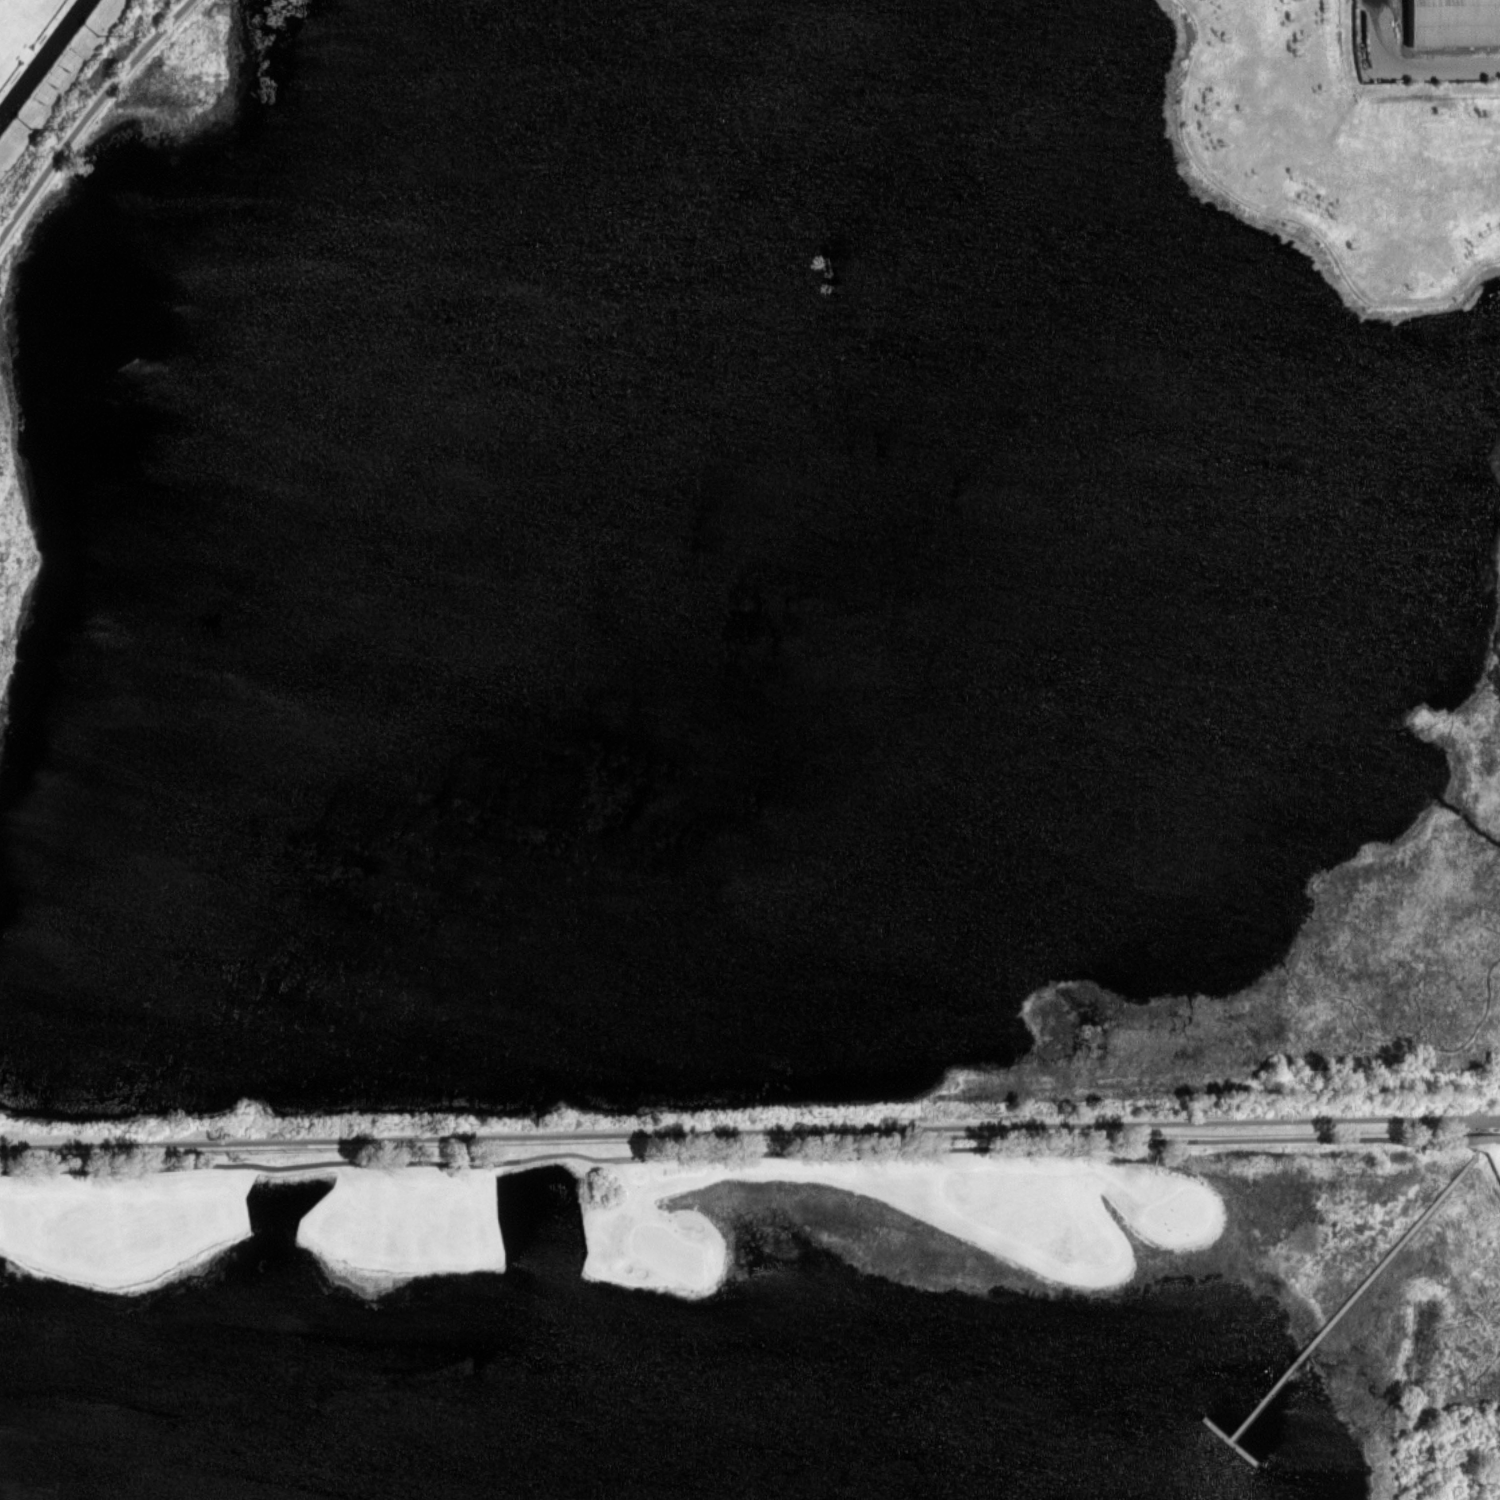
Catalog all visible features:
building: (1454, 24)
park: (18, 25)
track: (43, 59)
park: (56, 72)
road: (86, 114)
road: (750, 1133)
road: (750, 1156)
road: (1341, 1310)
park: (760, 1320)
road: (1240, 1451)

